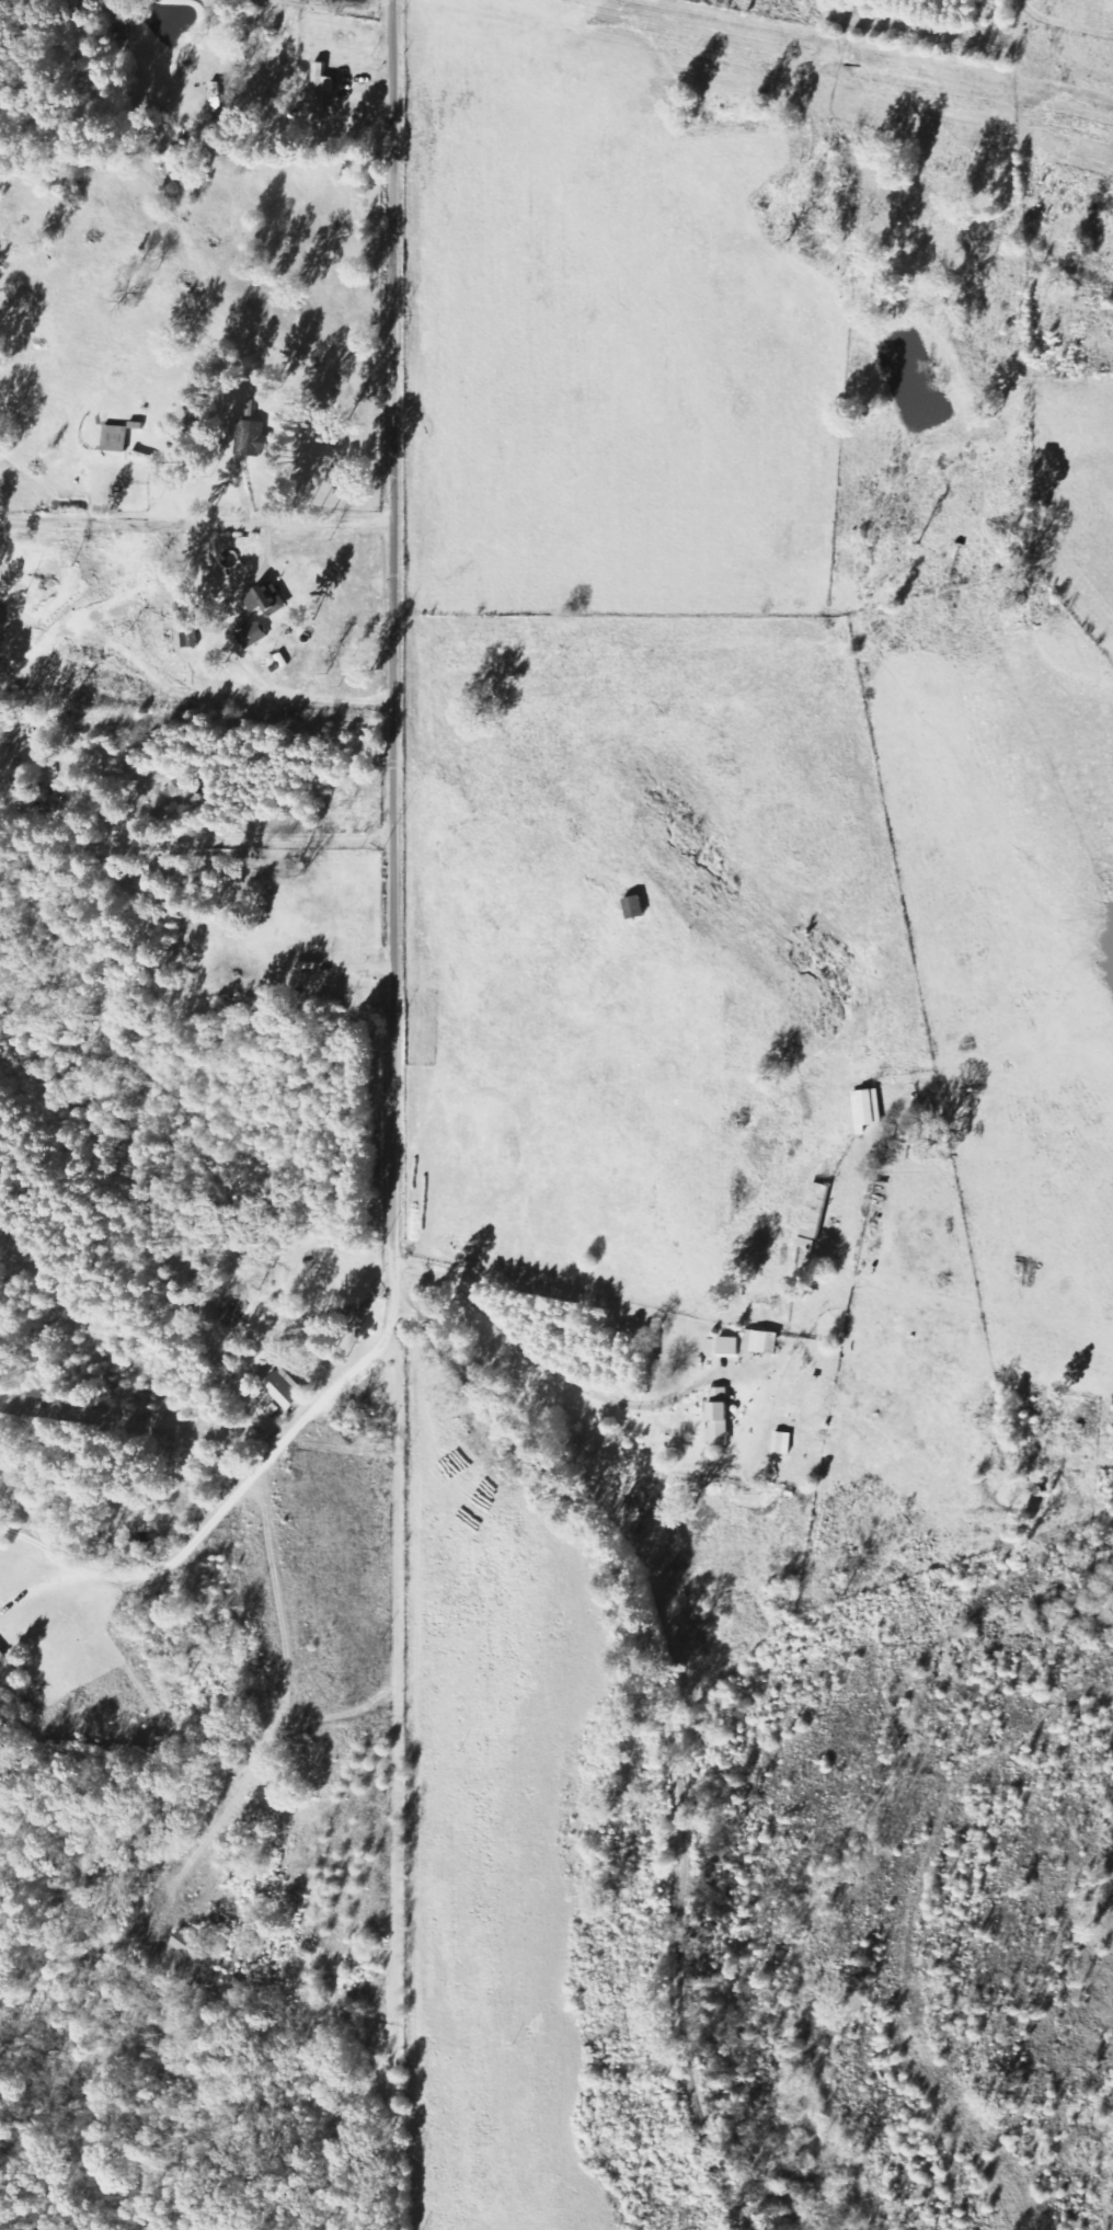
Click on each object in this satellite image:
building: (320, 84)
building: (114, 437)
building: (250, 437)
building: (265, 598)
building: (251, 634)
building: (185, 638)
road: (248, 847)
building: (633, 906)
building: (318, 936)
building: (865, 1108)
road: (389, 1180)
building: (813, 1214)
building: (760, 1340)
building: (728, 1343)
building: (284, 1387)
building: (718, 1414)
road: (259, 1589)
building: (4, 1665)
building: (190, 1945)

